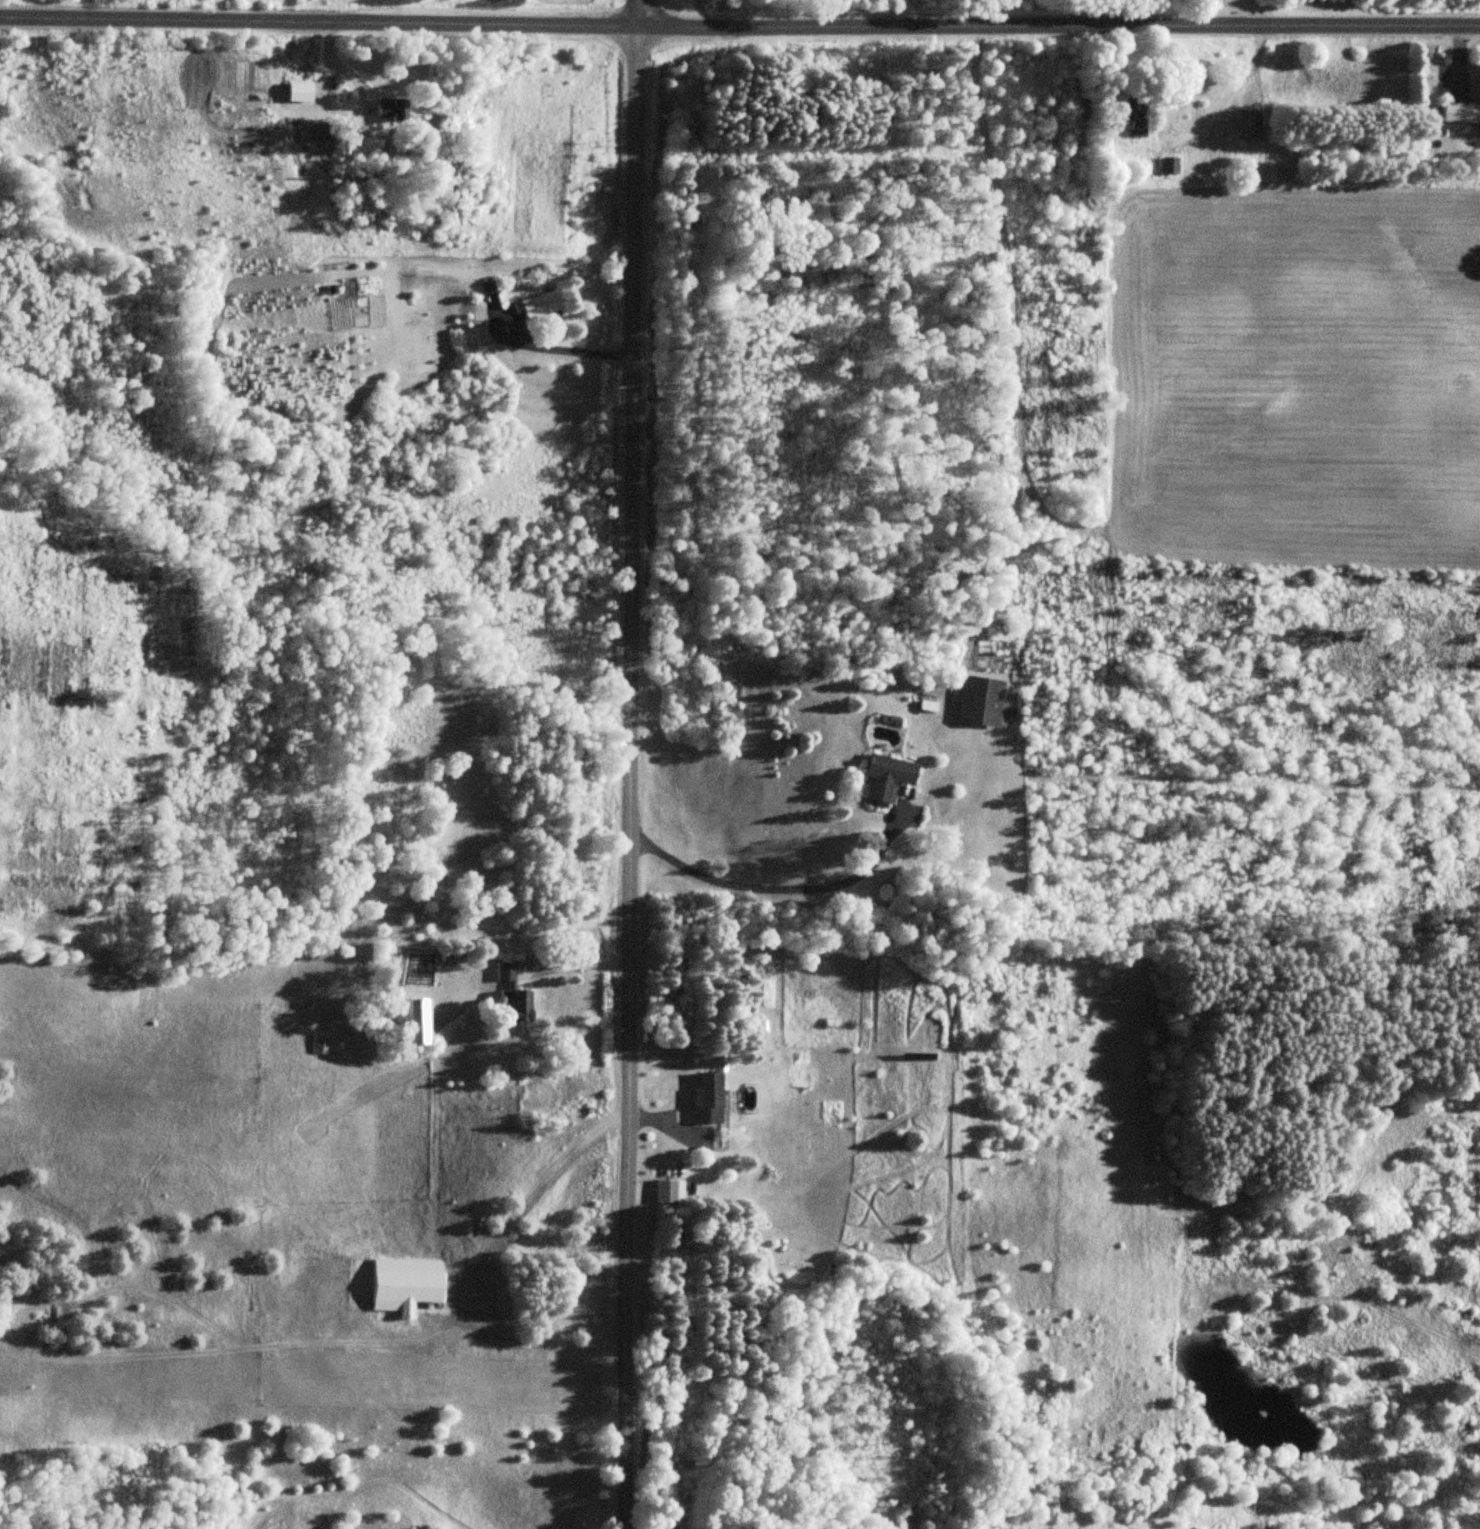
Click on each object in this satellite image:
road: (638, 13)
road: (739, 26)
building: (394, 108)
building: (1462, 113)
building: (1137, 119)
building: (1252, 128)
building: (1171, 165)
building: (543, 304)
building: (982, 702)
building: (889, 776)
road: (632, 777)
building: (515, 994)
building: (415, 1022)
building: (321, 1044)
building: (709, 1098)
building: (672, 1192)
building: (409, 1286)

